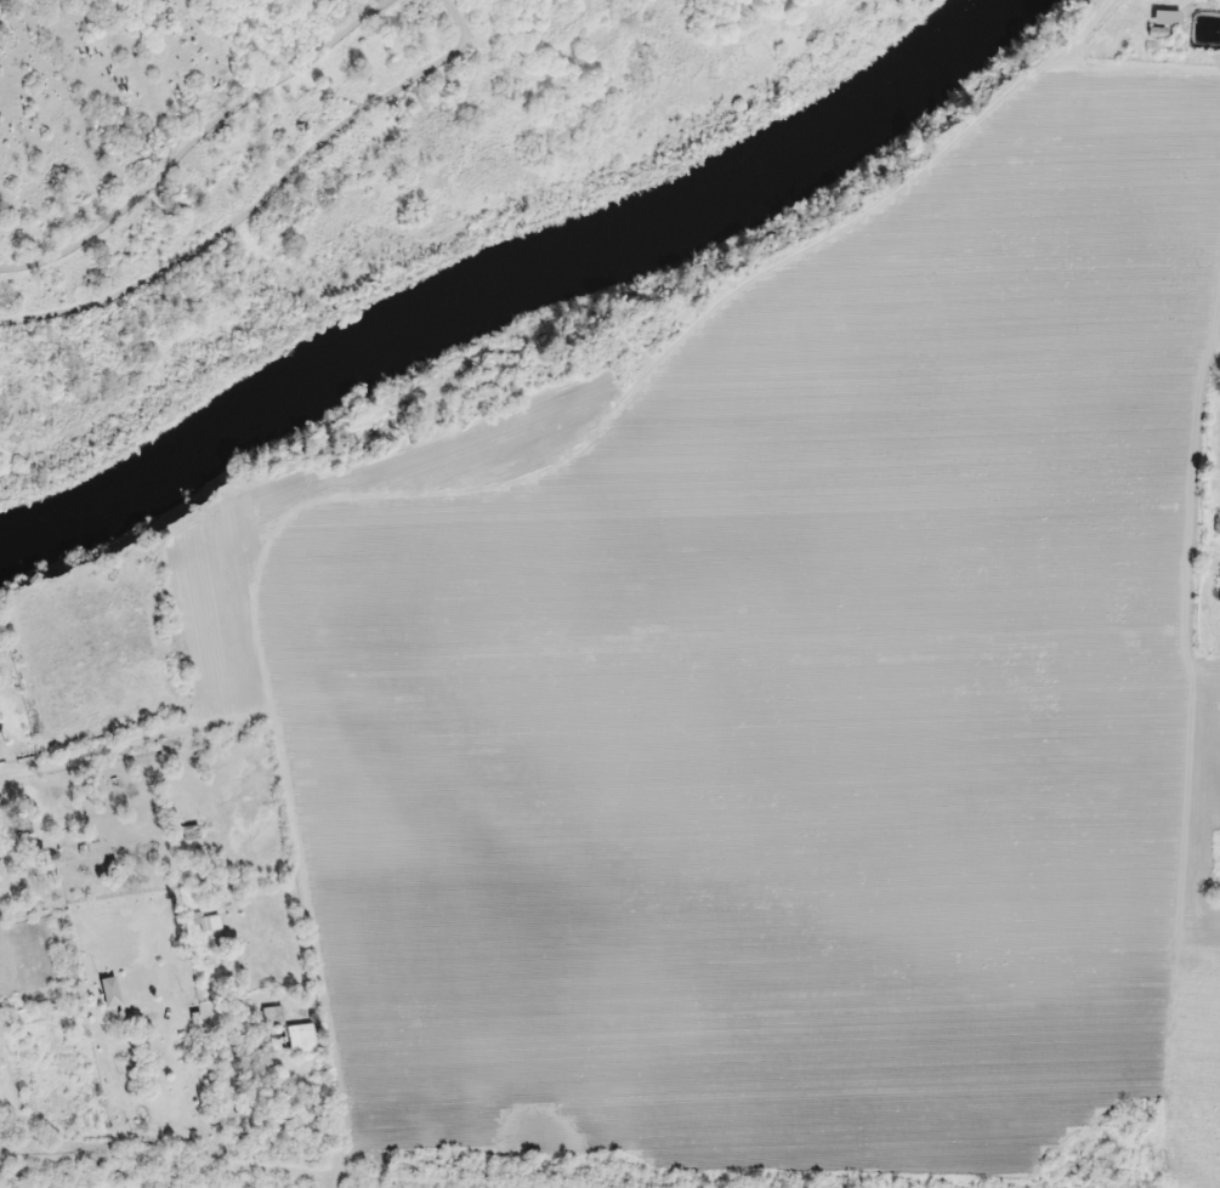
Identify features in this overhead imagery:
river: (504, 279)
road: (129, 735)
road: (318, 953)

